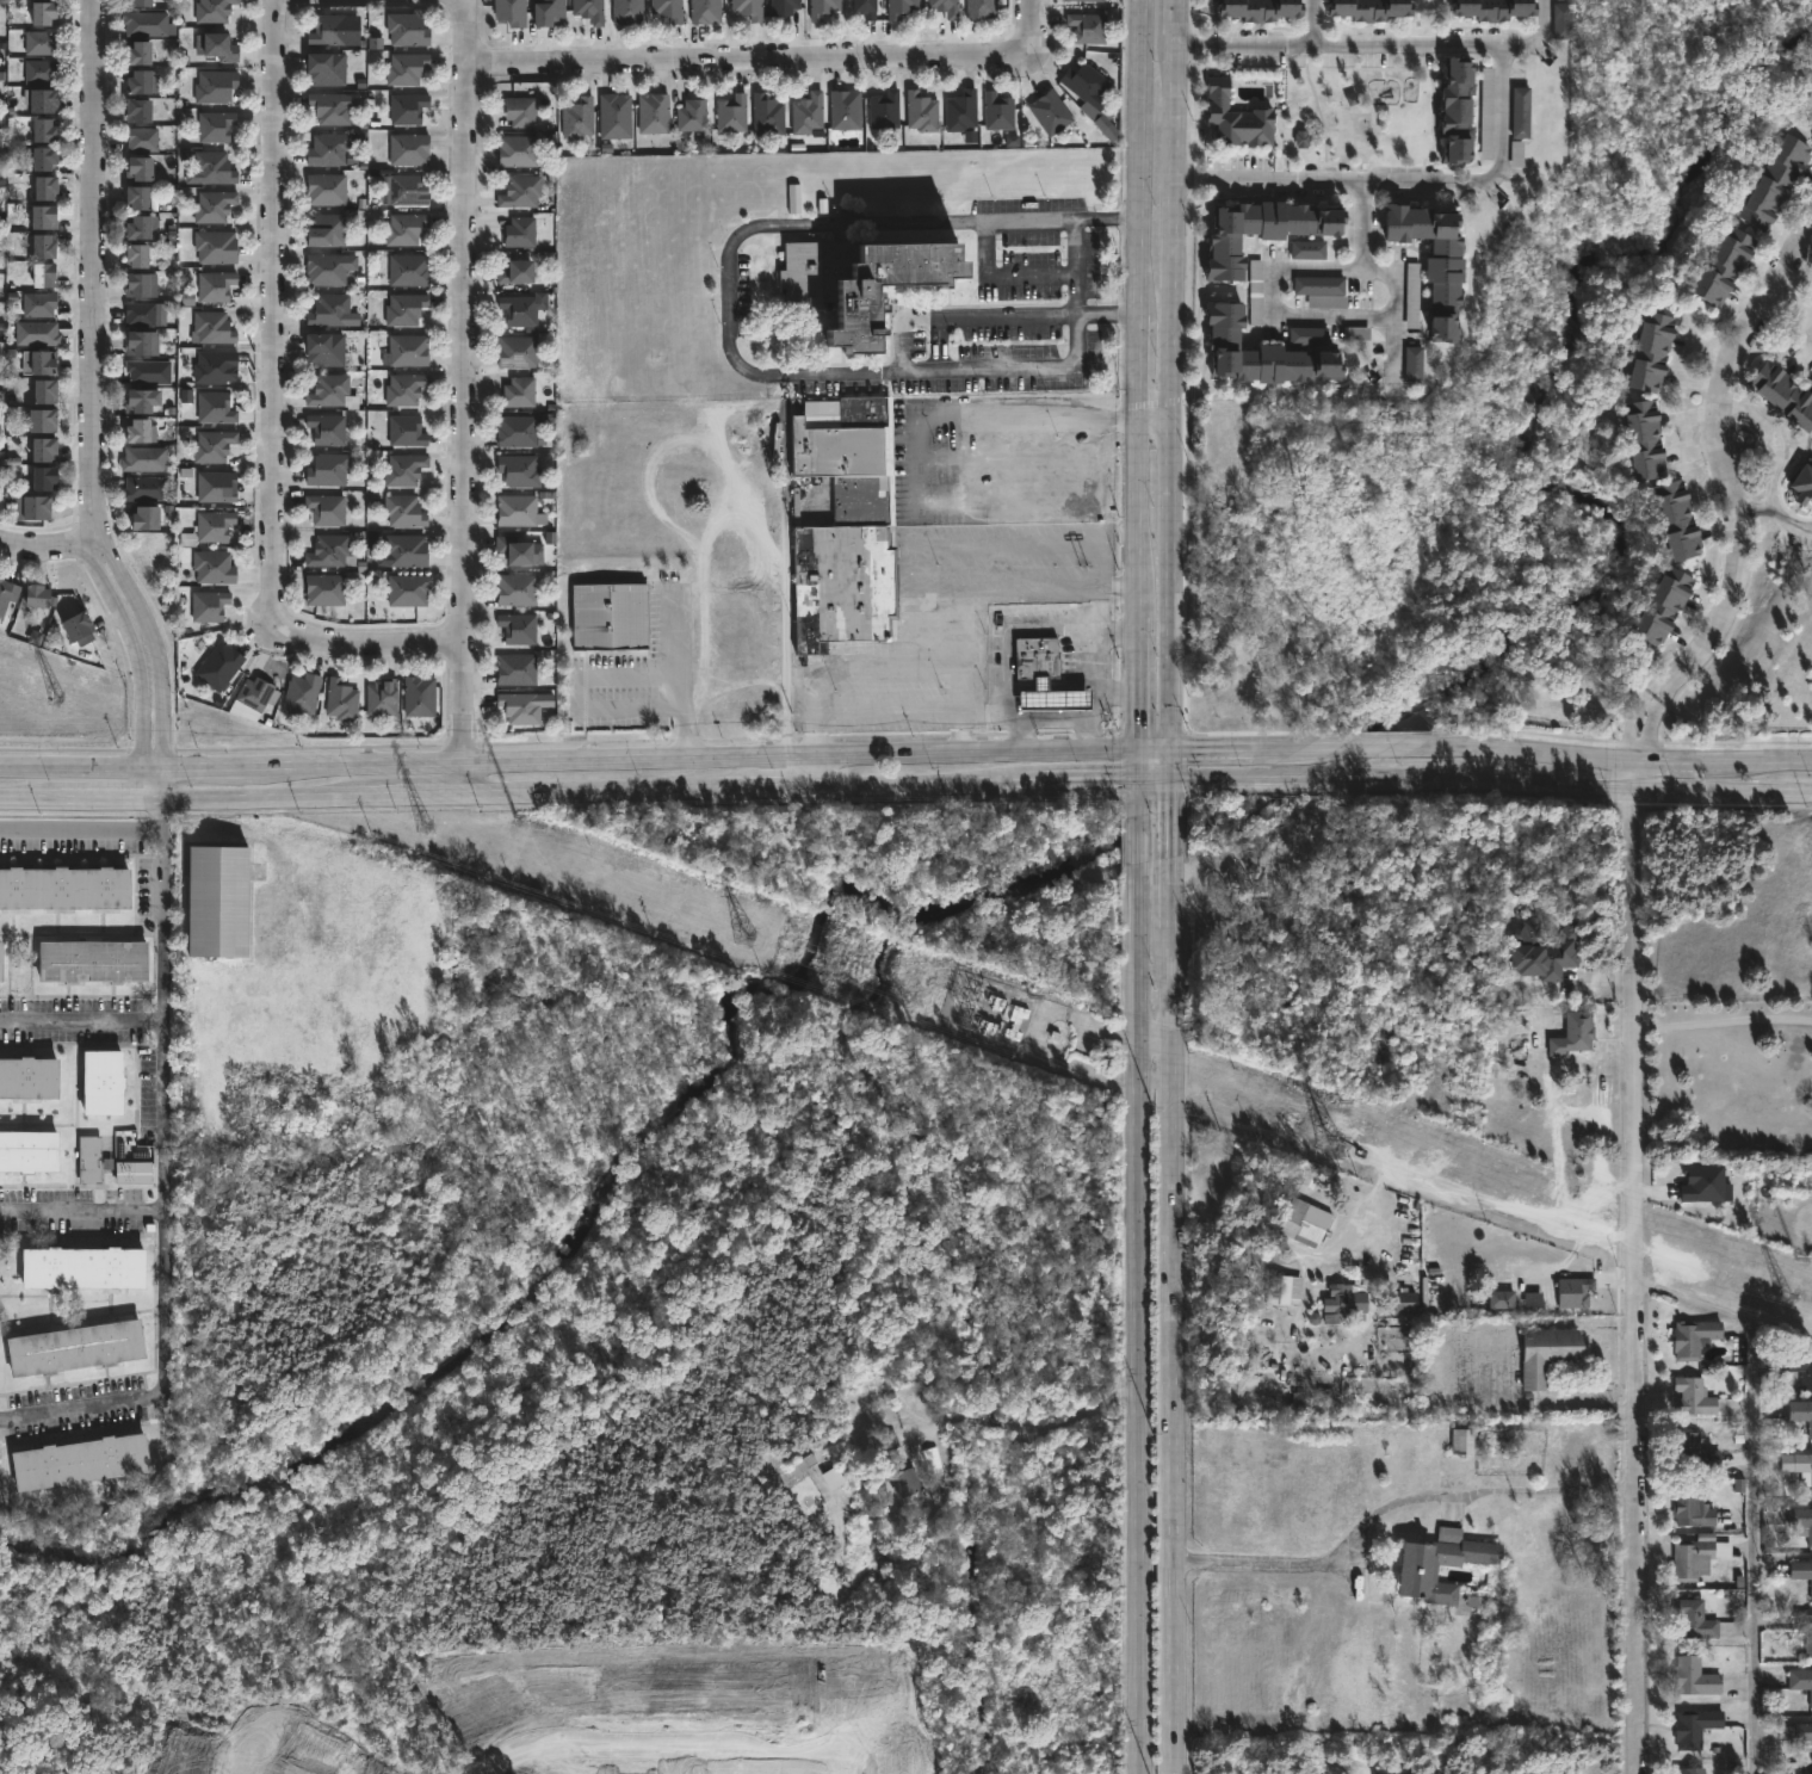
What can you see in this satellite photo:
building: (1086, 0)
building: (137, 4)
building: (784, 7)
building: (945, 7)
building: (748, 8)
building: (823, 8)
building: (865, 8)
building: (901, 8)
building: (1255, 8)
building: (1366, 8)
building: (1491, 8)
building: (668, 10)
building: (982, 10)
building: (214, 11)
building: (589, 11)
building: (511, 12)
building: (549, 12)
building: (705, 12)
building: (627, 13)
building: (43, 16)
road: (1310, 21)
building: (1563, 23)
building: (144, 24)
building: (406, 27)
building: (328, 29)
building: (1088, 29)
road: (1535, 38)
building: (41, 42)
building: (218, 48)
building: (136, 55)
road: (772, 60)
building: (326, 67)
building: (406, 67)
building: (41, 70)
building: (137, 84)
building: (215, 86)
building: (1087, 86)
building: (39, 99)
building: (329, 107)
building: (407, 107)
building: (136, 110)
building: (846, 110)
building: (519, 111)
building: (884, 111)
road: (1499, 111)
building: (654, 112)
building: (732, 112)
building: (922, 112)
building: (961, 112)
building: (997, 112)
building: (1521, 112)
building: (808, 113)
building: (1050, 113)
building: (1458, 113)
building: (1486, 113)
building: (614, 115)
building: (692, 115)
building: (768, 116)
building: (1811, 116)
building: (577, 117)
building: (1237, 118)
building: (214, 125)
building: (1106, 128)
building: (43, 129)
building: (142, 140)
building: (1301, 140)
building: (328, 148)
building: (408, 148)
building: (517, 150)
building: (39, 157)
building: (137, 166)
building: (211, 167)
building: (1777, 183)
building: (43, 186)
building: (324, 188)
building: (403, 190)
building: (520, 191)
building: (136, 194)
building: (793, 196)
building: (212, 205)
building: (42, 216)
building: (136, 225)
building: (324, 228)
building: (403, 228)
building: (1263, 229)
building: (520, 231)
building: (42, 245)
building: (215, 247)
building: (1307, 251)
building: (135, 254)
building: (1435, 258)
road: (89, 264)
road: (1075, 265)
building: (1726, 266)
building: (324, 268)
road: (1384, 268)
building: (404, 270)
building: (514, 271)
building: (41, 273)
road: (1003, 273)
building: (1811, 276)
building: (864, 277)
building: (140, 284)
building: (214, 285)
building: (1322, 291)
building: (1255, 292)
building: (37, 303)
road: (1789, 304)
building: (404, 309)
building: (518, 309)
road: (1273, 309)
building: (332, 310)
building: (140, 314)
road: (1008, 314)
road: (726, 322)
building: (212, 327)
building: (36, 332)
building: (141, 341)
building: (324, 348)
building: (1268, 350)
building: (408, 351)
building: (1655, 351)
building: (517, 352)
building: (41, 360)
building: (1414, 364)
building: (214, 366)
building: (147, 371)
road: (1136, 375)
road: (464, 379)
building: (404, 389)
building: (43, 390)
road: (1171, 390)
building: (519, 391)
building: (330, 392)
building: (1785, 394)
building: (136, 400)
building: (215, 407)
road: (272, 407)
road: (982, 418)
road: (1154, 418)
building: (42, 420)
building: (546, 421)
building: (326, 428)
building: (136, 429)
building: (406, 431)
building: (517, 431)
road: (1717, 437)
building: (1645, 440)
building: (212, 445)
building: (42, 449)
road: (1776, 457)
building: (143, 458)
building: (1, 462)
building: (327, 469)
building: (403, 469)
building: (519, 470)
building: (42, 478)
building: (1804, 484)
building: (214, 487)
building: (143, 489)
building: (30, 507)
building: (326, 508)
building: (404, 511)
building: (515, 511)
building: (143, 517)
building: (1678, 519)
building: (214, 526)
building: (847, 529)
road: (45, 543)
road: (966, 548)
building: (404, 550)
building: (329, 551)
building: (519, 551)
building: (212, 567)
road: (1008, 586)
building: (324, 589)
building: (517, 589)
building: (407, 592)
building: (35, 594)
building: (7, 597)
building: (209, 605)
building: (1665, 607)
building: (610, 616)
building: (517, 628)
building: (76, 629)
road: (1087, 637)
road: (159, 655)
building: (1038, 659)
road: (136, 661)
building: (219, 666)
road: (885, 666)
building: (515, 669)
road: (1666, 669)
road: (675, 676)
road: (1678, 680)
building: (256, 694)
building: (302, 694)
building: (418, 697)
road: (579, 697)
power tower: (55, 698)
building: (381, 698)
building: (1056, 699)
gas station: (1056, 699)
building: (340, 700)
road: (1088, 700)
building: (518, 707)
road: (890, 707)
road: (1072, 717)
road: (1631, 722)
traffic signals: (1138, 729)
road: (1649, 729)
road: (1088, 730)
traffic signals: (1195, 749)
road: (1474, 750)
road: (569, 759)
road: (797, 773)
road: (1634, 773)
road: (464, 780)
road: (1492, 781)
traffic signals: (1113, 783)
road: (587, 796)
traffic signals: (1174, 801)
road: (80, 829)
power tower: (429, 829)
road: (672, 885)
building: (64, 889)
building: (216, 902)
power tower: (747, 932)
building: (1545, 952)
building: (0, 962)
building: (91, 963)
power substation: (983, 1012)
power tower: (1003, 1021)
road: (82, 1024)
road: (1724, 1025)
building: (1579, 1032)
road: (1156, 1043)
building: (26, 1078)
building: (99, 1083)
power tower: (1328, 1137)
building: (27, 1150)
building: (88, 1160)
building: (131, 1173)
road: (163, 1174)
building: (1705, 1185)
road: (81, 1210)
building: (1306, 1219)
road: (1232, 1230)
road: (1139, 1262)
building: (82, 1266)
road: (1174, 1278)
road: (1639, 1280)
building: (1280, 1287)
building: (1576, 1291)
power tower: (1789, 1296)
building: (1347, 1299)
building: (1501, 1299)
building: (1405, 1302)
road: (1726, 1311)
building: (1313, 1318)
building: (1695, 1337)
building: (74, 1347)
building: (1547, 1354)
building: (1801, 1367)
building: (1694, 1397)
building: (1311, 1398)
road: (1594, 1403)
building: (1801, 1411)
building: (1465, 1441)
building: (888, 1442)
building: (1695, 1453)
building: (78, 1460)
building: (1799, 1465)
building: (904, 1478)
road: (1478, 1492)
building: (1692, 1508)
building: (1801, 1522)
road: (1755, 1547)
building: (1696, 1558)
road: (1257, 1562)
building: (1441, 1564)
building: (1801, 1571)
building: (1694, 1620)
building: (1806, 1631)
building: (1695, 1677)
building: (1801, 1680)
building: (1696, 1726)
building: (1798, 1735)
building: (1690, 1770)
building: (1394, 1773)

